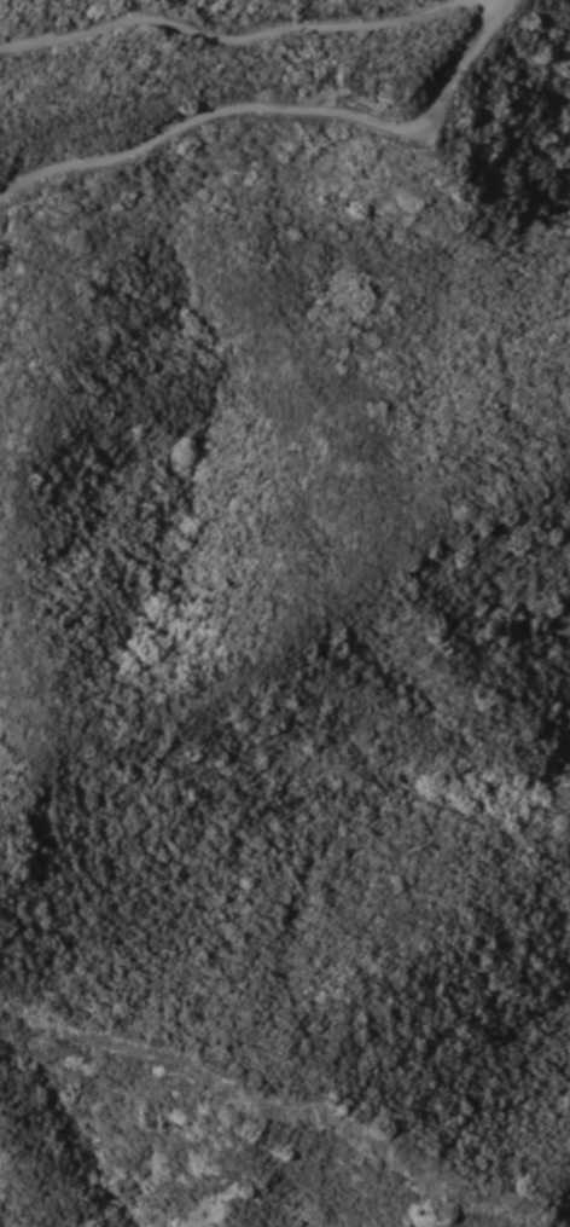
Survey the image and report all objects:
road: (477, 47)

